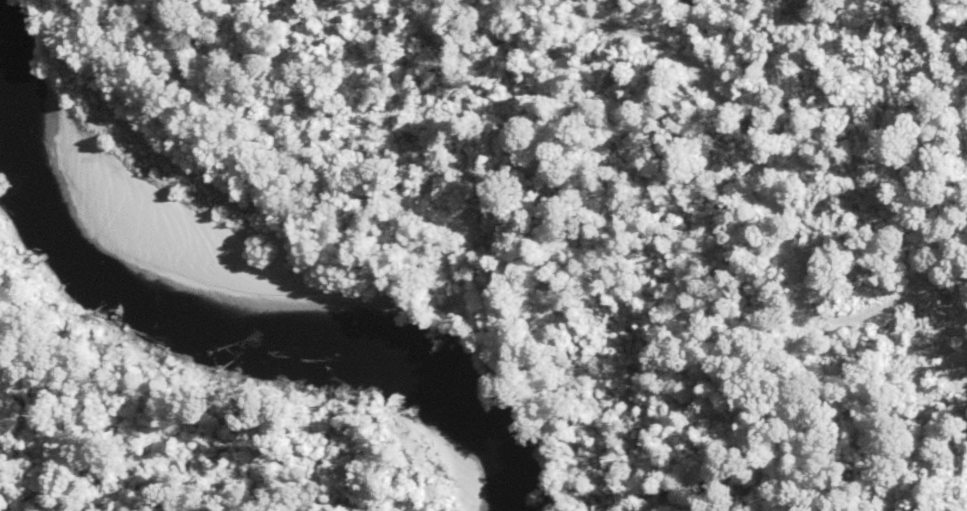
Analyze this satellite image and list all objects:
river: (267, 266)

